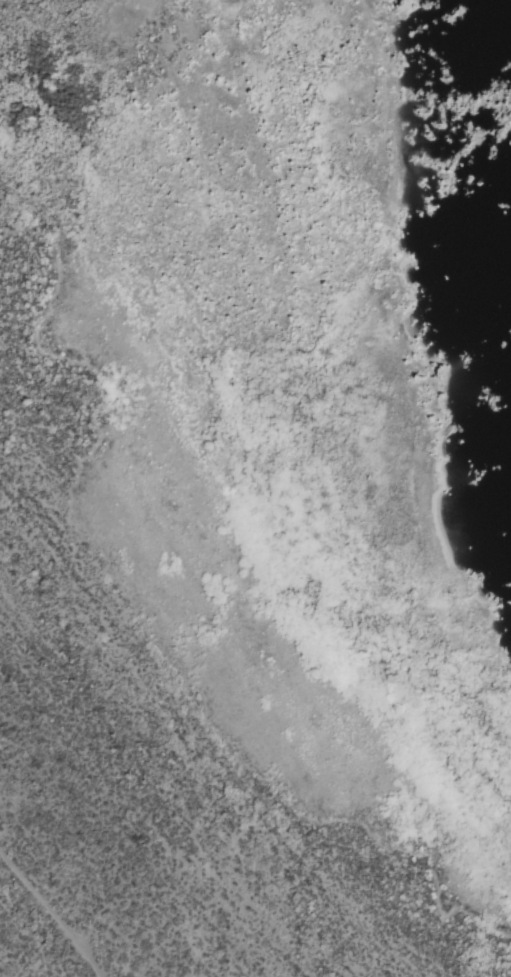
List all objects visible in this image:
road: (48, 916)

